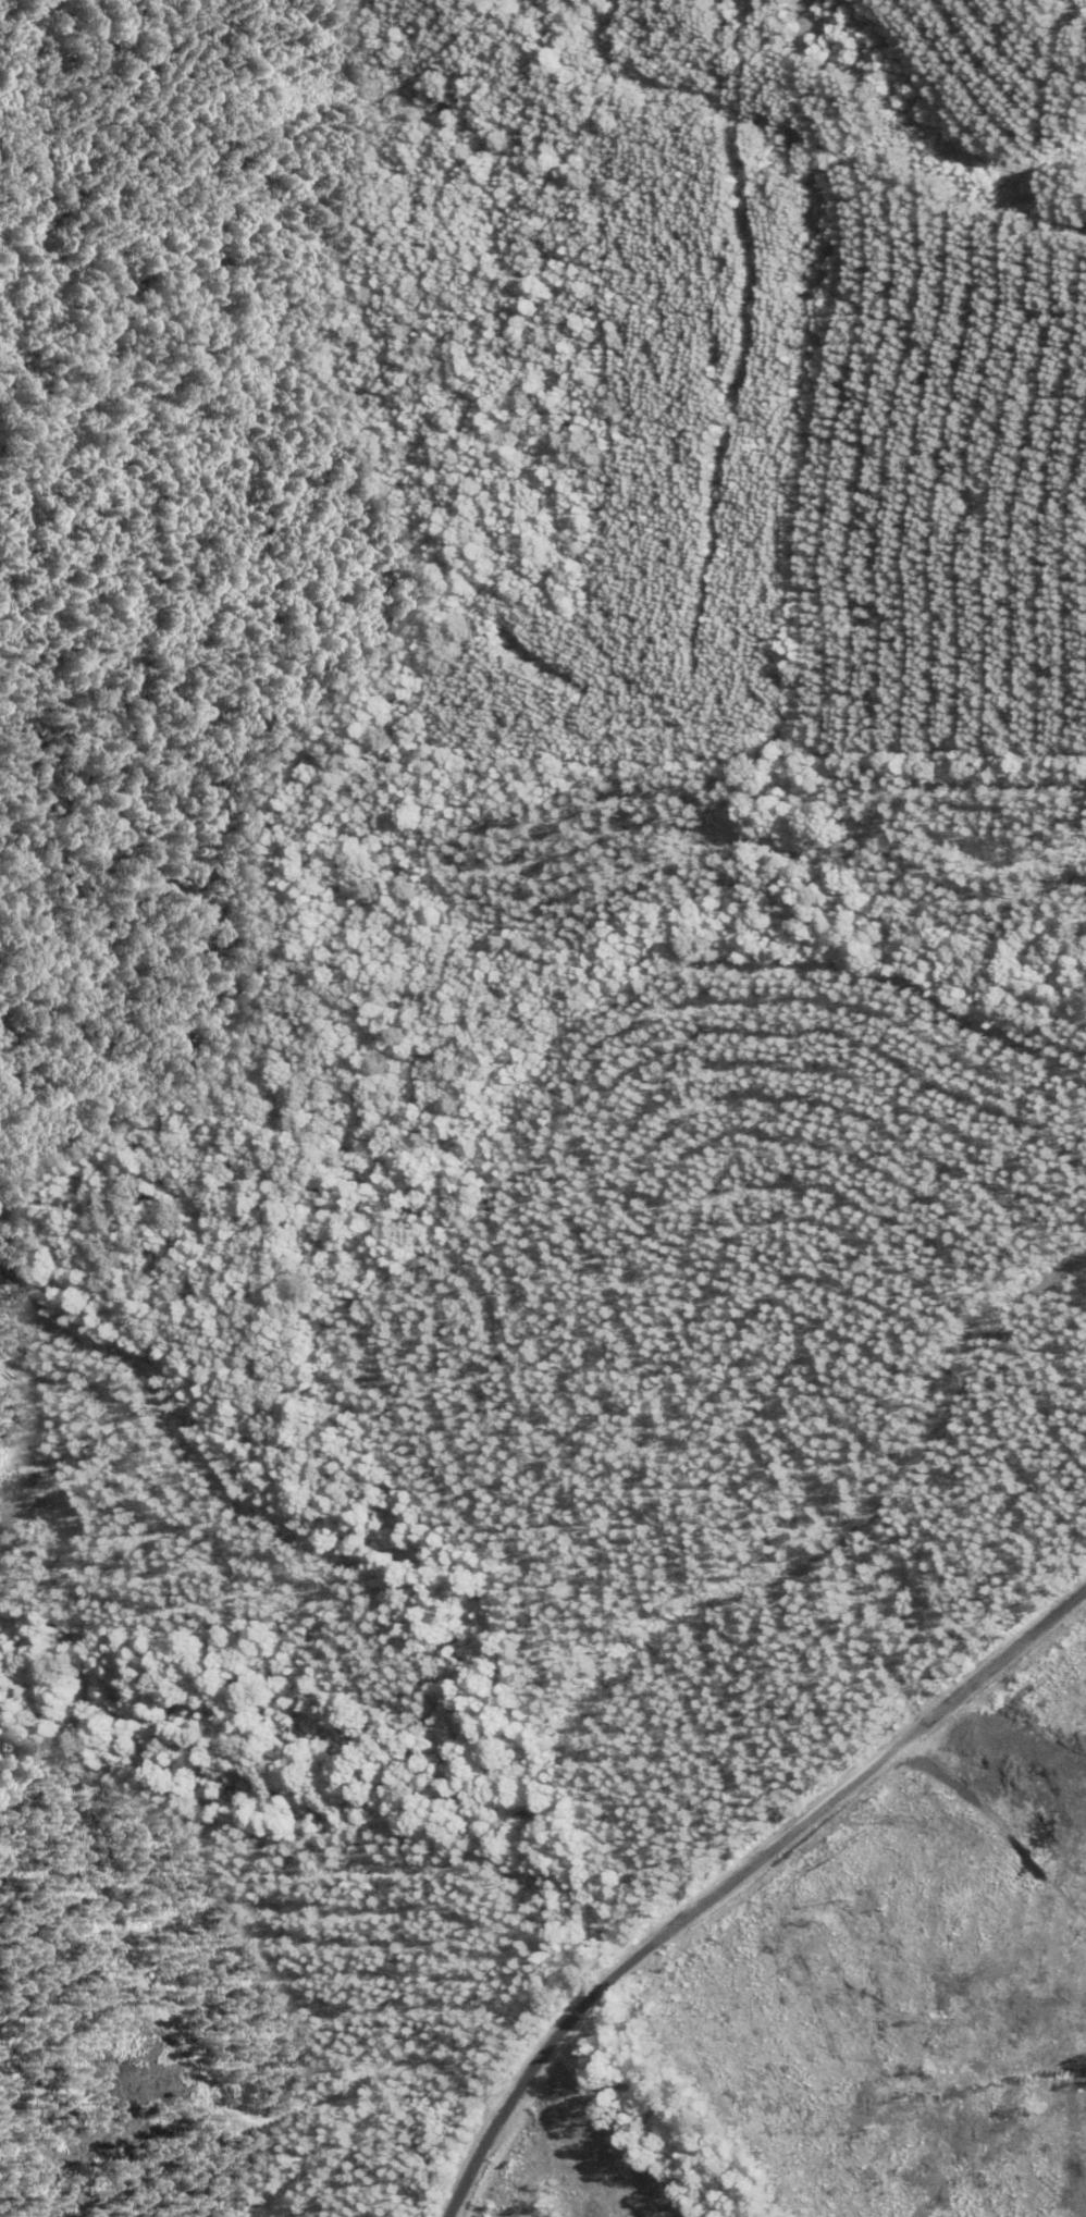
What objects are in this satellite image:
road: (735, 1874)

